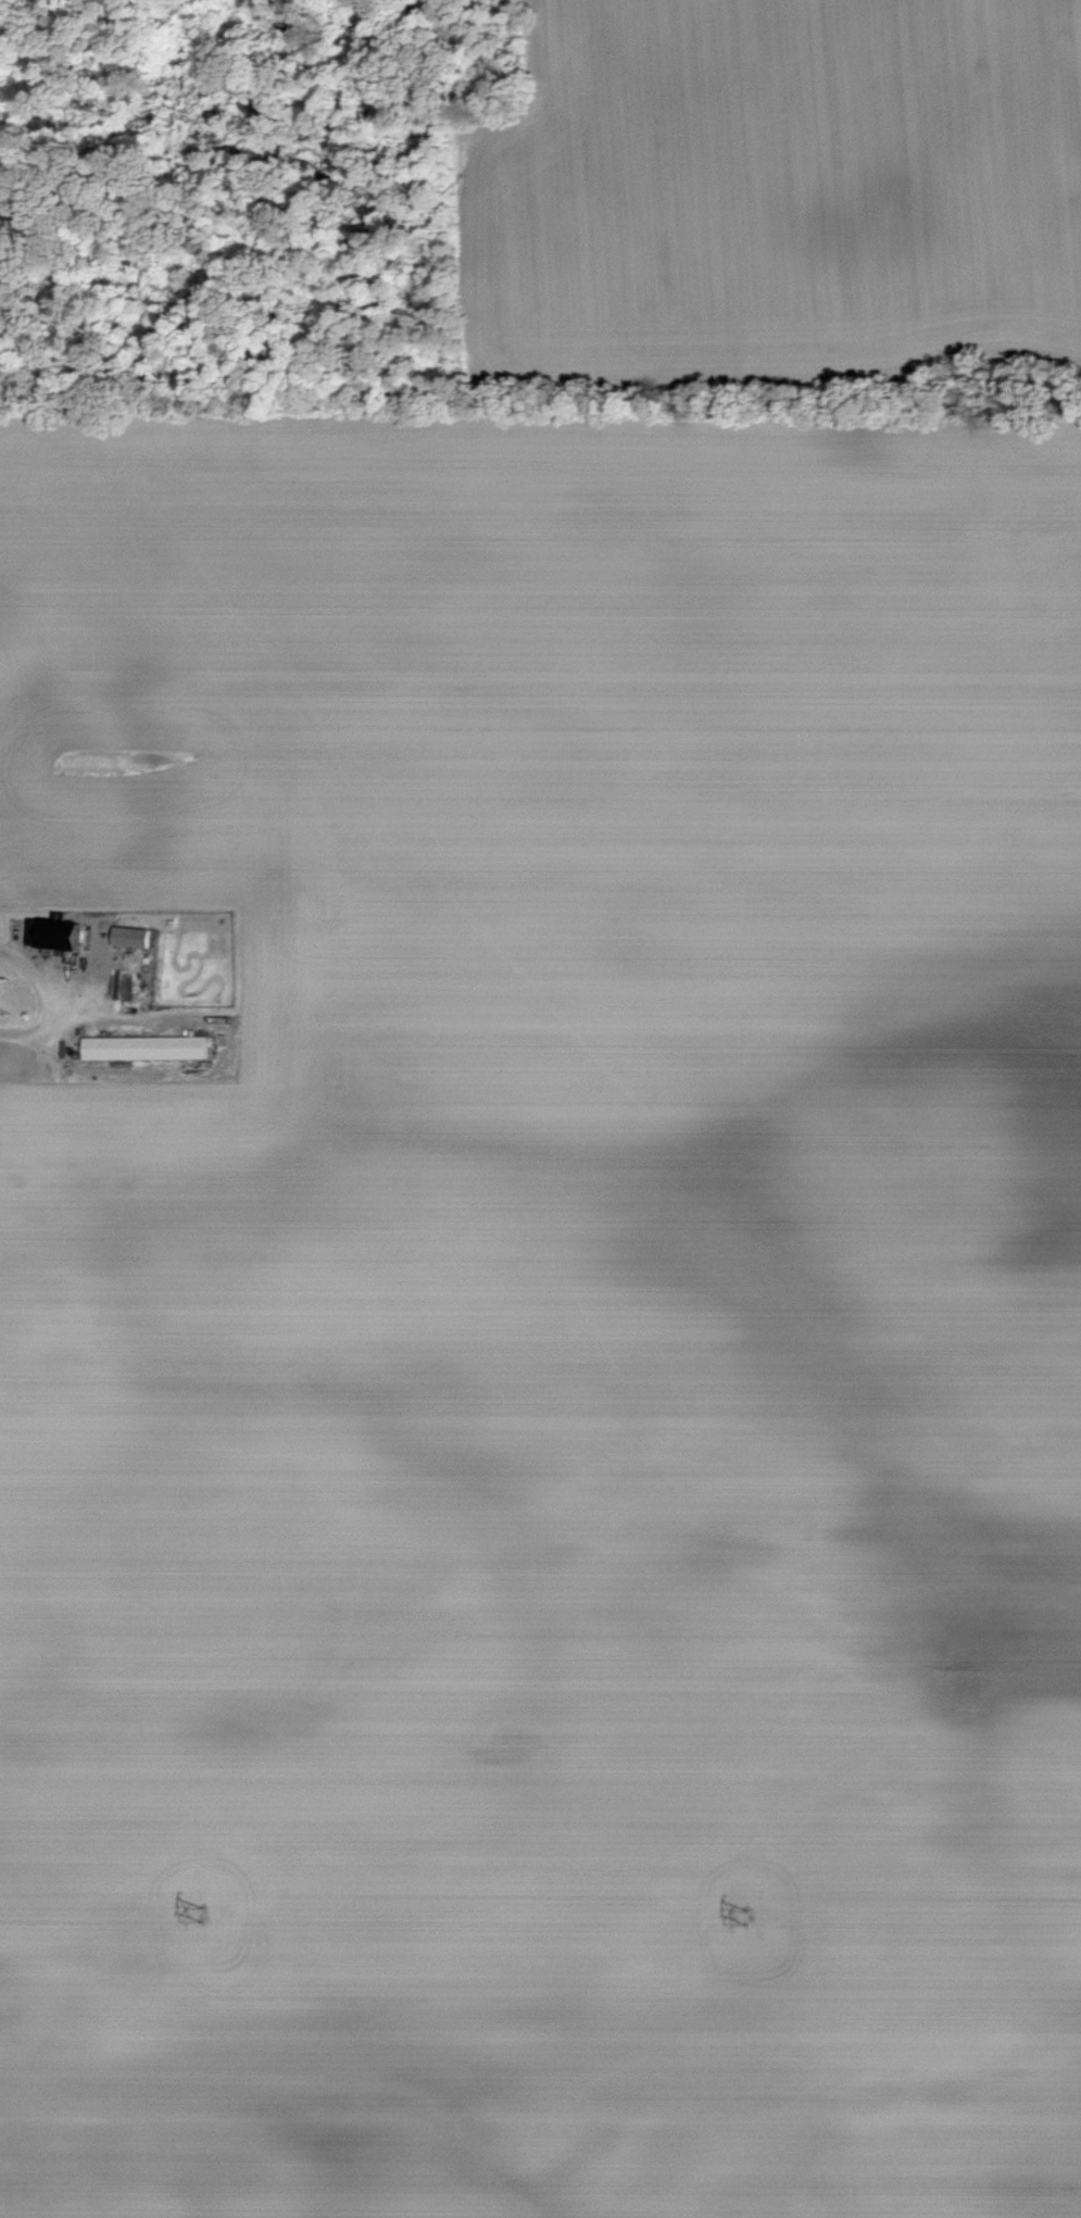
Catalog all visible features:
building: (56, 933)
building: (129, 937)
road: (50, 1000)
building: (142, 1048)
power tower: (199, 1913)
power tower: (744, 1915)

